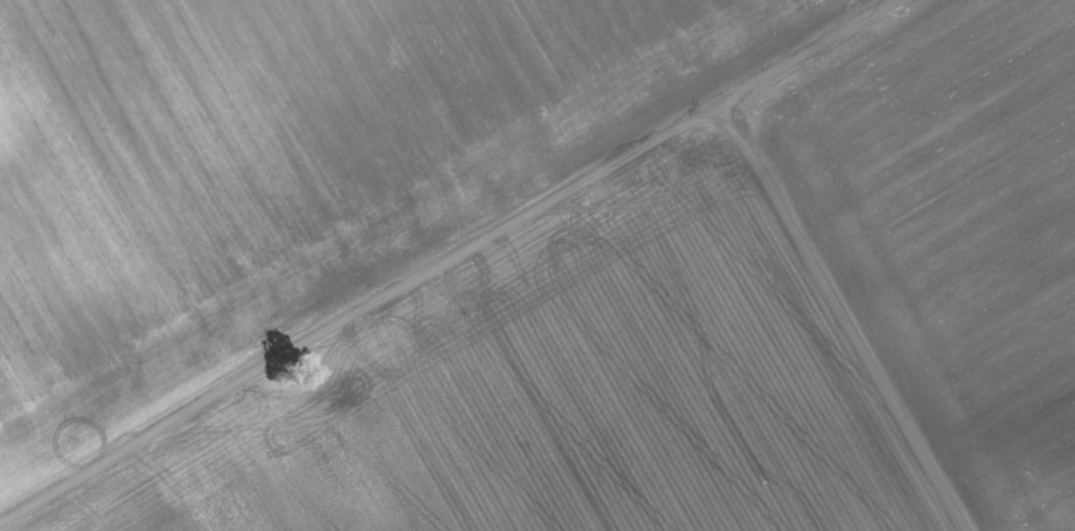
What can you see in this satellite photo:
road: (865, 3)
road: (439, 256)
road: (841, 313)

